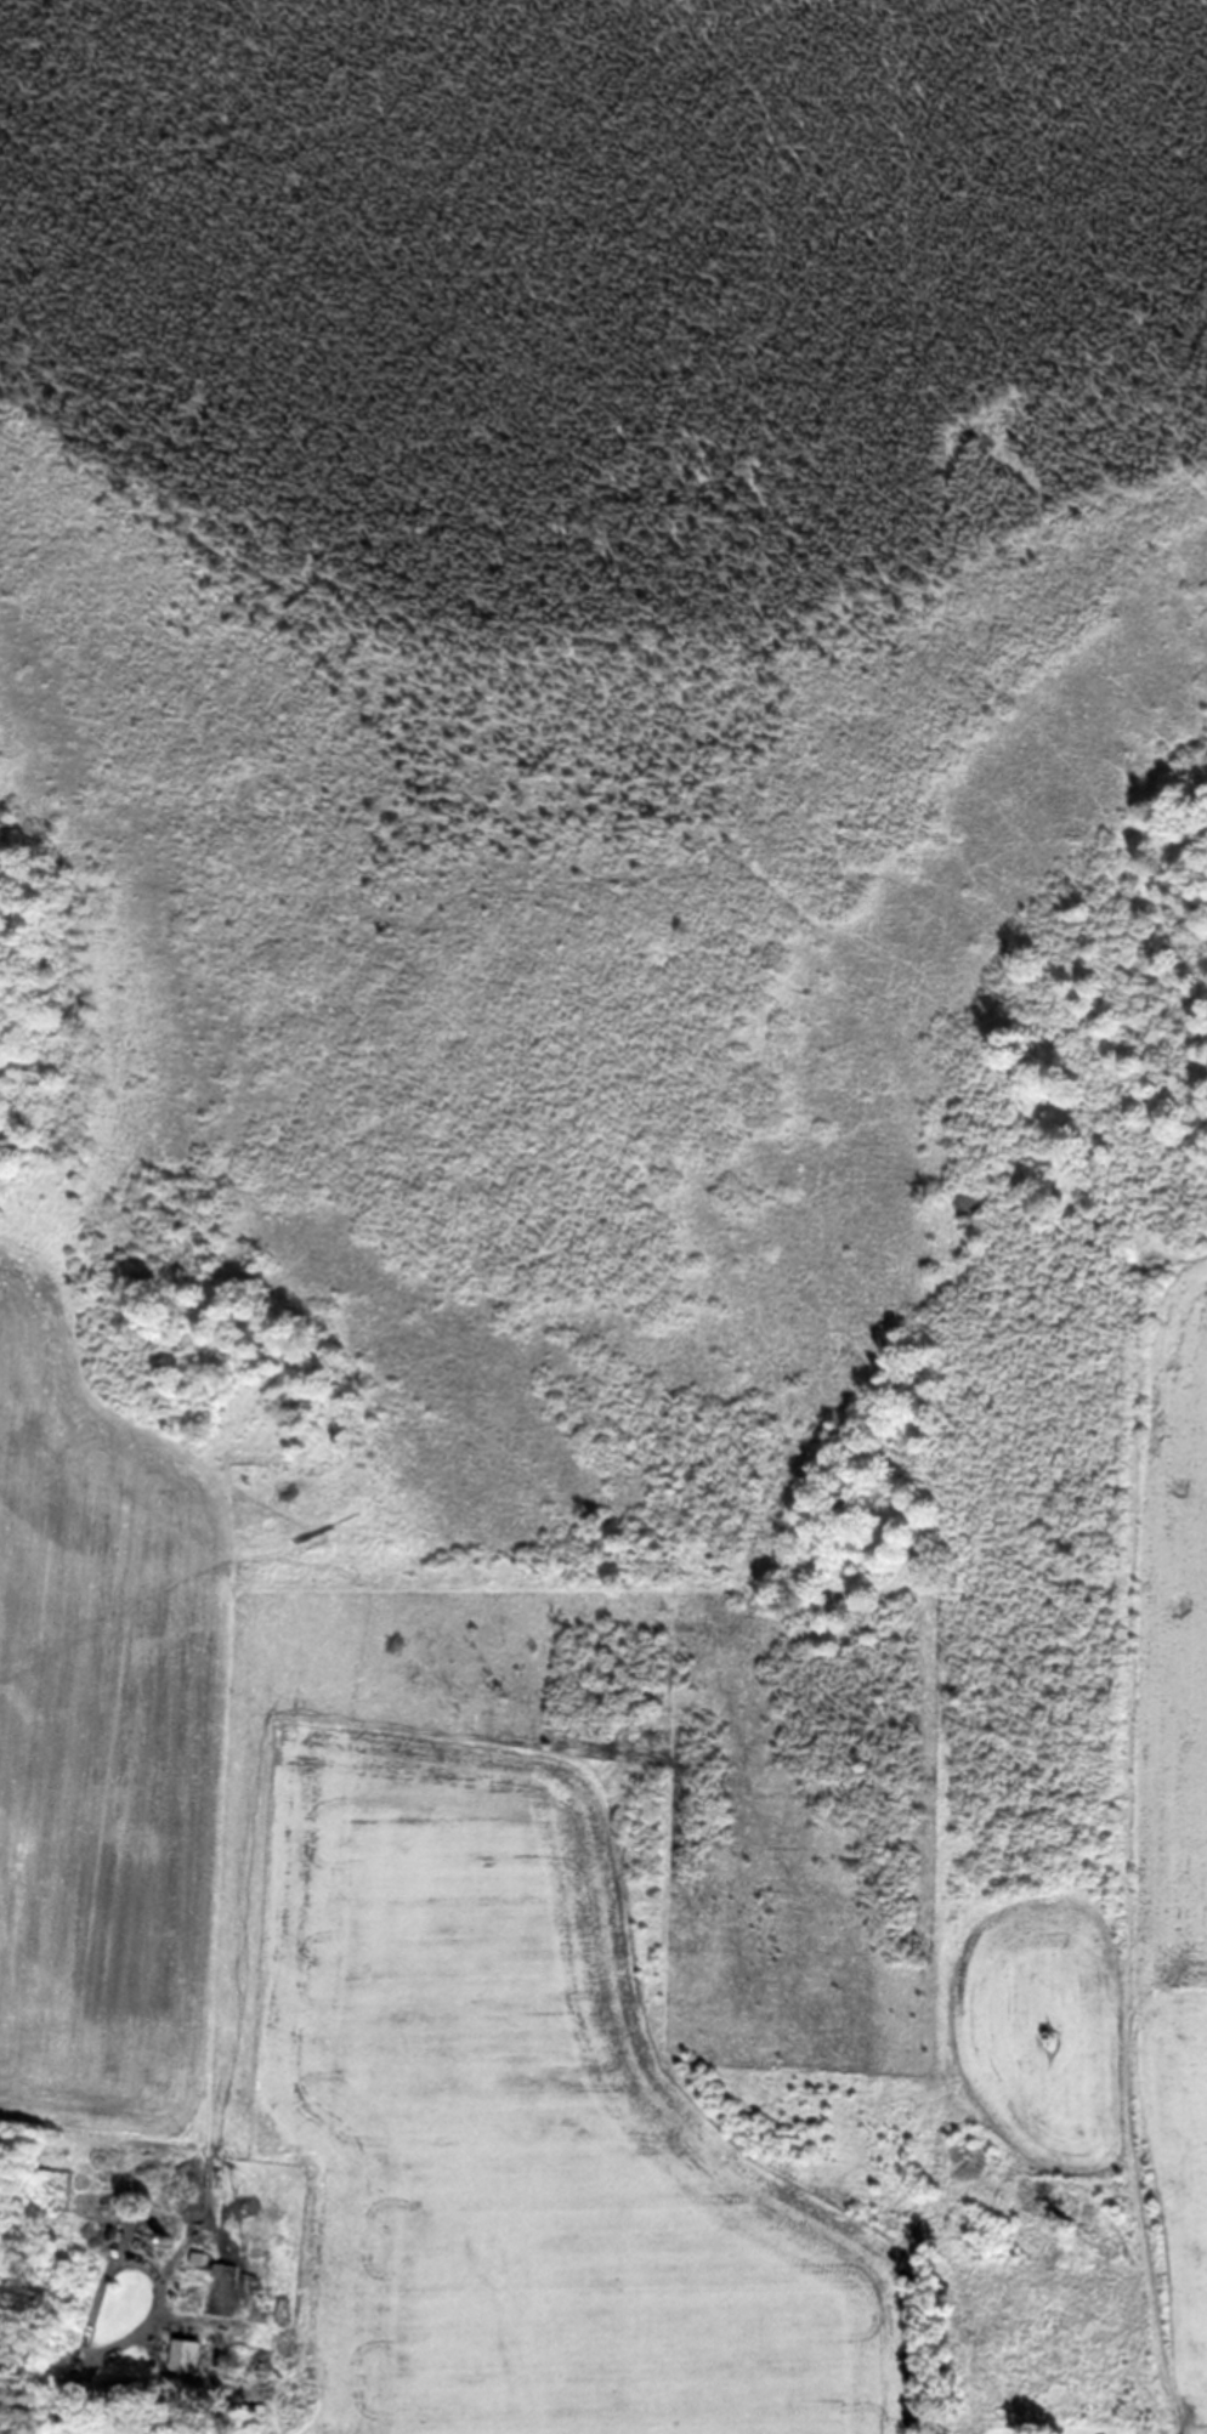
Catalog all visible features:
road: (147, 2252)
building: (191, 2291)
building: (185, 2348)
building: (120, 2390)
road: (62, 2405)

